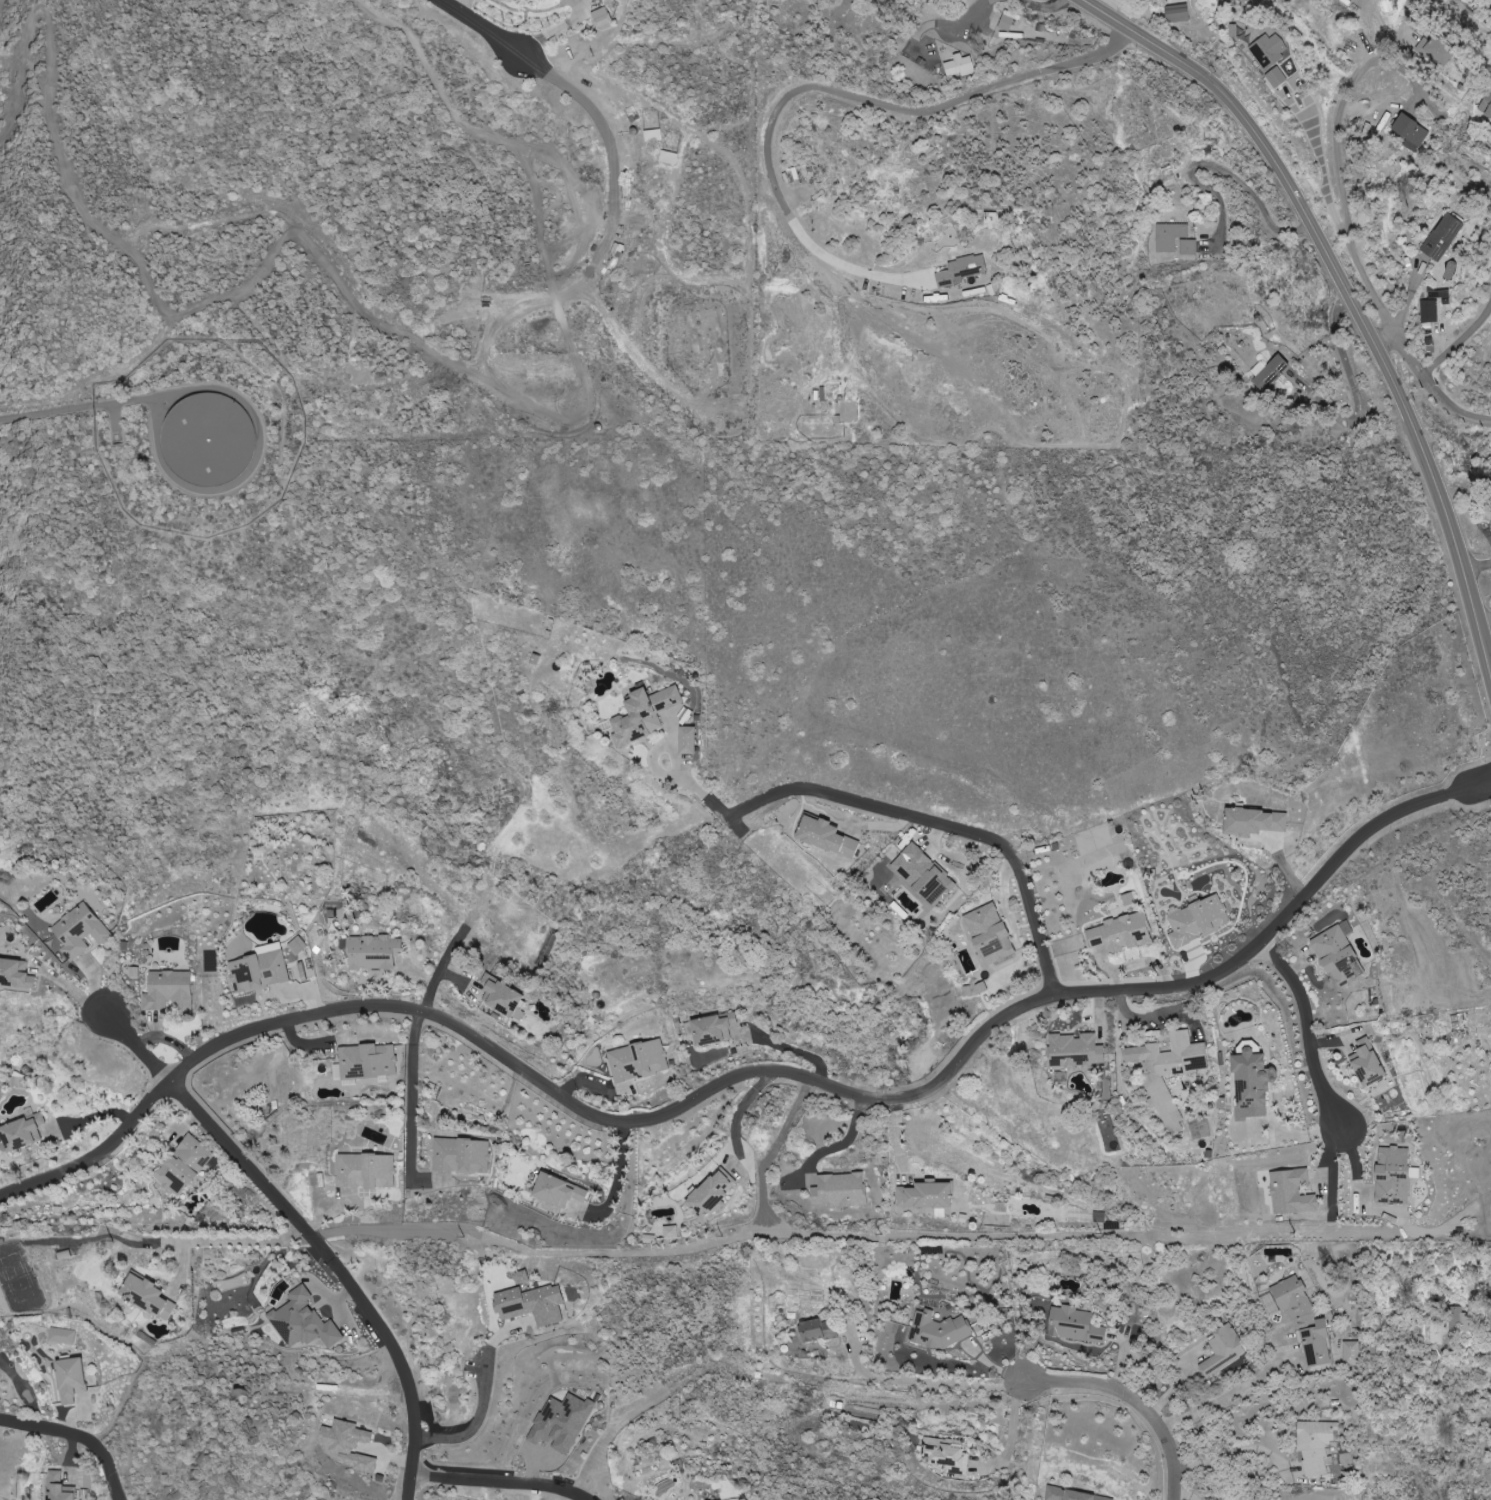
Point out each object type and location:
building: (544, 0)
road: (1043, 5)
road: (1478, 11)
building: (1178, 13)
building: (603, 18)
road: (1405, 18)
building: (1008, 20)
road: (936, 22)
road: (481, 26)
building: (1439, 49)
building: (1270, 51)
building: (959, 66)
building: (1277, 77)
road: (827, 83)
building: (1486, 105)
building: (1412, 129)
building: (653, 135)
building: (669, 157)
road: (1223, 171)
road: (1346, 184)
building: (991, 219)
building: (1444, 237)
building: (1176, 240)
building: (961, 270)
road: (1350, 289)
building: (1432, 306)
road: (763, 326)
road: (958, 354)
road: (1431, 366)
building: (1270, 373)
road: (1354, 395)
road: (1450, 406)
road: (40, 412)
road: (692, 495)
building: (645, 714)
building: (689, 740)
road: (700, 790)
building: (1255, 820)
building: (829, 835)
road: (980, 835)
road: (1360, 840)
building: (924, 873)
building: (1130, 898)
building: (1199, 920)
building: (81, 931)
building: (1123, 932)
building: (993, 936)
building: (374, 952)
building: (1340, 955)
building: (261, 969)
building: (16, 974)
road: (70, 987)
building: (171, 992)
building: (505, 995)
building: (716, 1028)
road: (1310, 1032)
road: (790, 1047)
building: (1077, 1050)
building: (369, 1060)
building: (639, 1060)
building: (1370, 1063)
building: (1171, 1071)
building: (1254, 1083)
road: (741, 1108)
road: (412, 1111)
road: (617, 1122)
building: (24, 1131)
road: (839, 1143)
building: (463, 1155)
building: (185, 1165)
building: (368, 1170)
road: (617, 1173)
building: (1395, 1174)
building: (561, 1190)
building: (841, 1190)
building: (1293, 1191)
building: (714, 1193)
building: (928, 1194)
building: (671, 1232)
road: (308, 1234)
road: (225, 1241)
building: (524, 1278)
building: (149, 1295)
building: (535, 1303)
road: (1489, 1303)
building: (1304, 1320)
building: (304, 1321)
building: (1076, 1325)
building: (1442, 1327)
building: (821, 1329)
building: (939, 1330)
building: (63, 1335)
building: (1224, 1350)
building: (1352, 1352)
building: (73, 1378)
road: (922, 1380)
road: (1232, 1393)
road: (486, 1396)
road: (1136, 1400)
road: (77, 1435)
road: (1012, 1436)
building: (348, 1444)
building: (1318, 1445)
road: (1233, 1450)
building: (947, 1454)
road: (499, 1481)
building: (61, 1487)
building: (1074, 1495)

